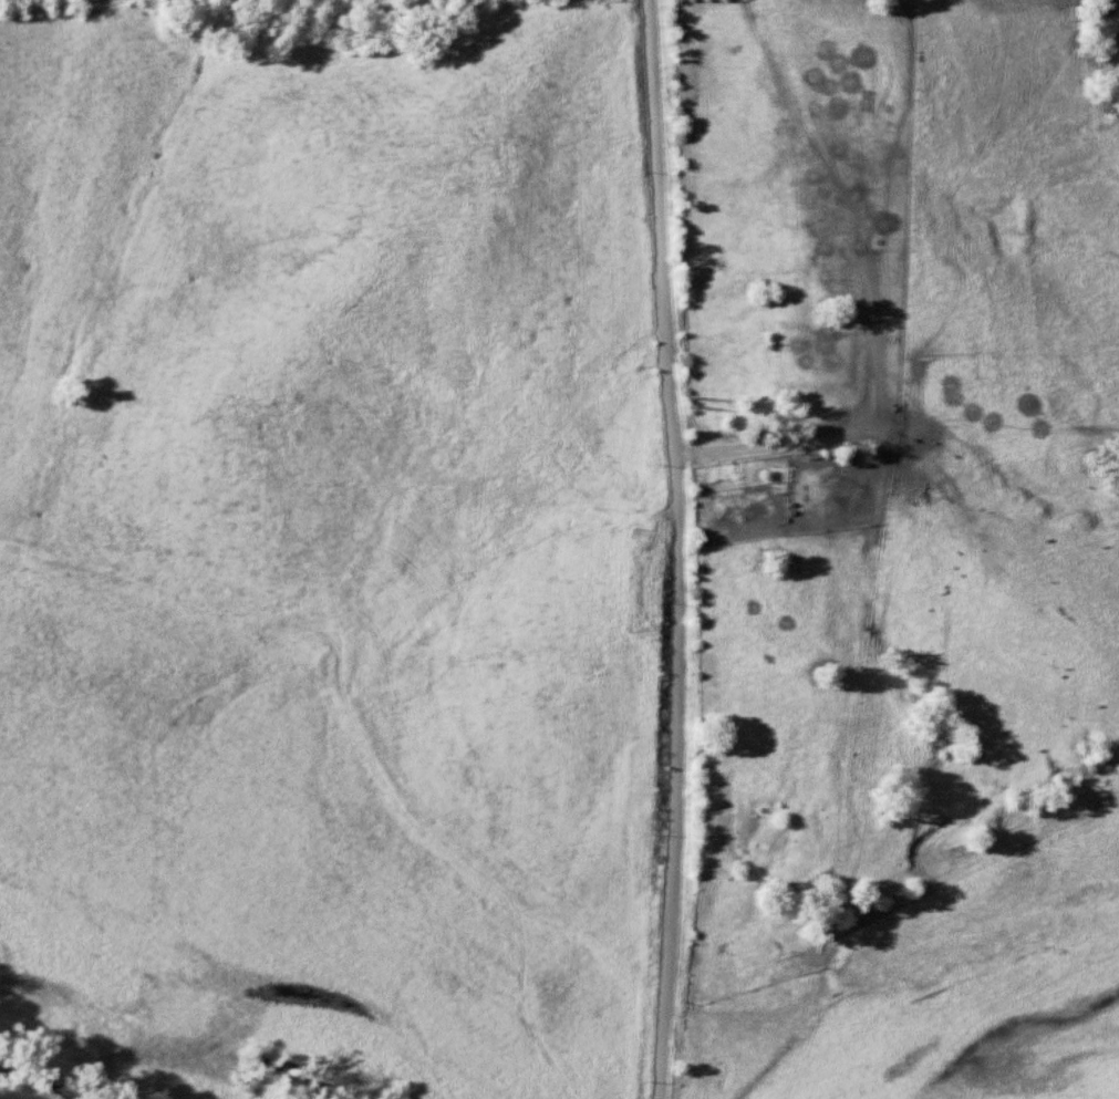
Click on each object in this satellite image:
road: (676, 549)

